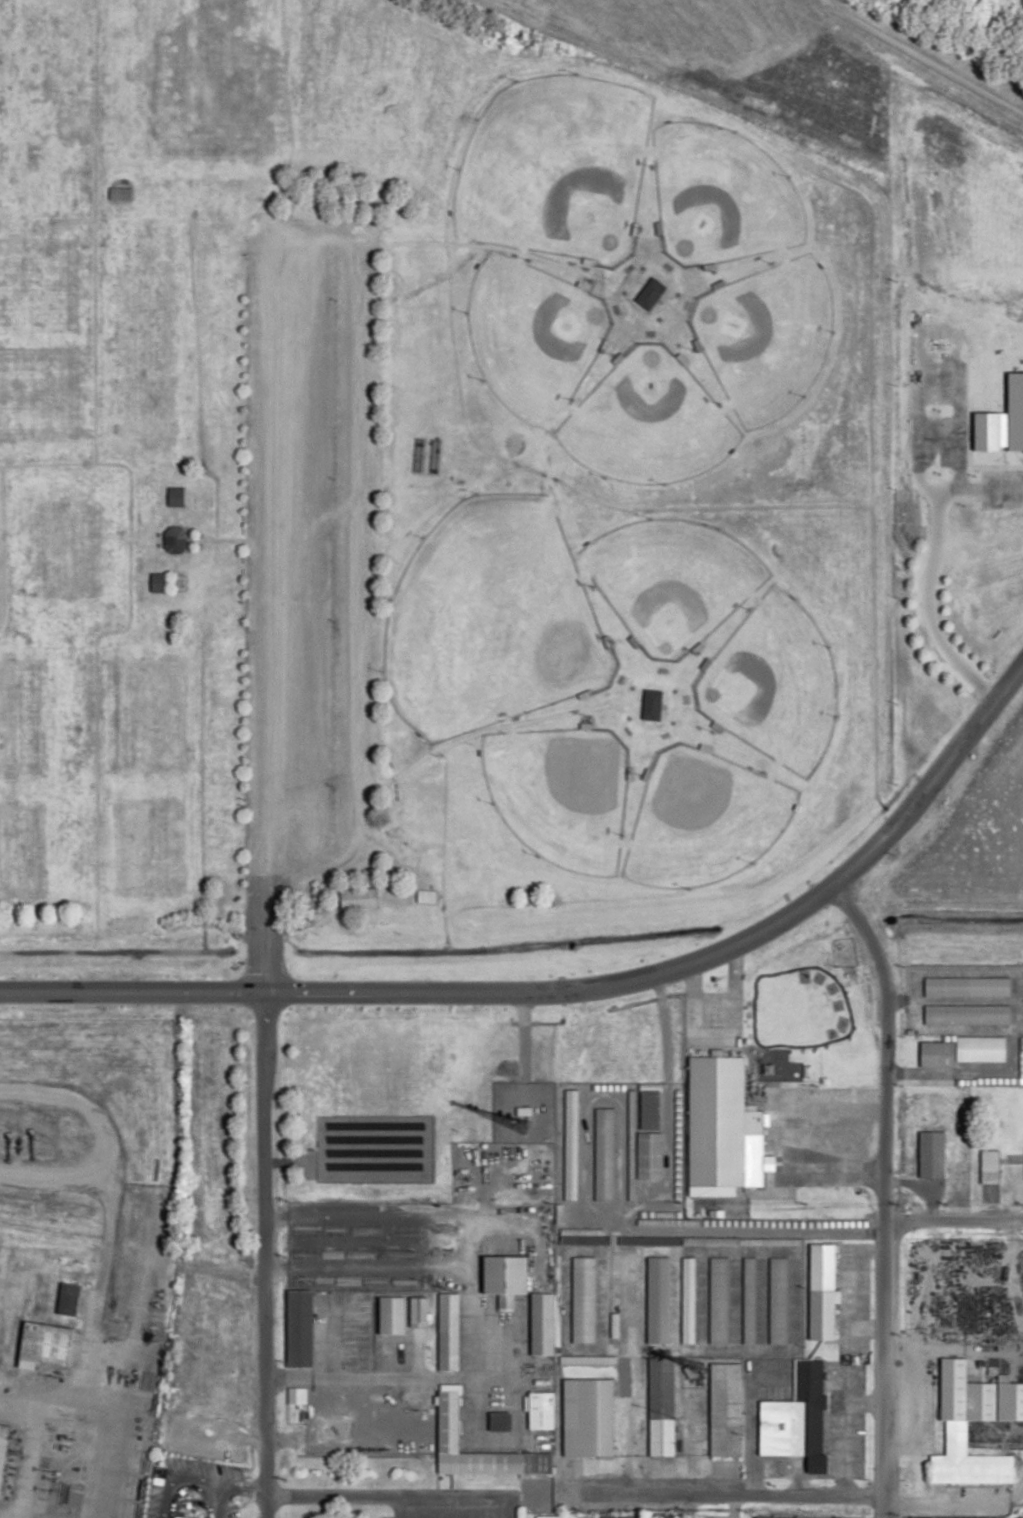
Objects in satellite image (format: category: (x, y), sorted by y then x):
road: (925, 59)
park: (356, 67)
park: (204, 82)
park: (36, 83)
crop: (835, 133)
park: (555, 169)
building: (119, 194)
park: (719, 194)
park: (150, 261)
building: (648, 292)
park: (145, 314)
park: (530, 334)
park: (766, 336)
park: (27, 364)
park: (144, 369)
park: (646, 422)
park: (141, 426)
building: (416, 455)
building: (432, 456)
building: (176, 497)
park: (419, 501)
road: (173, 516)
building: (174, 540)
road: (217, 540)
park: (65, 555)
road: (174, 573)
park: (669, 579)
building: (158, 581)
park: (491, 619)
park: (772, 683)
building: (651, 703)
park: (19, 706)
park: (145, 706)
park: (559, 792)
park: (702, 819)
park: (18, 845)
park: (143, 848)
building: (426, 896)
building: (358, 898)
building: (967, 985)
road: (574, 987)
building: (966, 1013)
road: (720, 1038)
building: (937, 1053)
building: (720, 1122)
road: (781, 1130)
building: (648, 1134)
building: (569, 1144)
building: (602, 1153)
building: (630, 1153)
building: (931, 1154)
building: (989, 1166)
road: (883, 1194)
road: (953, 1218)
building: (681, 1239)
road: (262, 1254)
building: (506, 1277)
building: (687, 1298)
building: (68, 1299)
building: (581, 1299)
building: (657, 1299)
building: (717, 1299)
building: (747, 1300)
building: (777, 1300)
building: (823, 1310)
building: (418, 1311)
building: (391, 1313)
building: (541, 1322)
building: (299, 1328)
building: (448, 1330)
road: (140, 1335)
building: (45, 1344)
building: (591, 1359)
road: (65, 1380)
building: (296, 1394)
building: (660, 1405)
building: (725, 1409)
building: (540, 1410)
building: (588, 1416)
building: (448, 1418)
building: (796, 1419)
building: (499, 1421)
building: (956, 1436)
building: (3, 1446)
road: (723, 1492)
building: (551, 1516)
building: (618, 1516)
building: (181, 1517)
building: (779, 1517)

